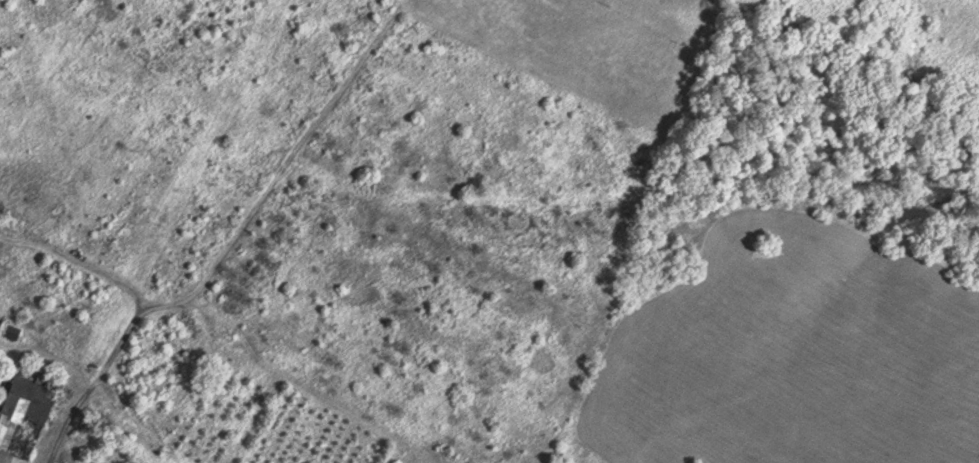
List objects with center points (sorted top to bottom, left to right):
road: (79, 237)
building: (8, 330)
road: (110, 382)
building: (19, 412)

